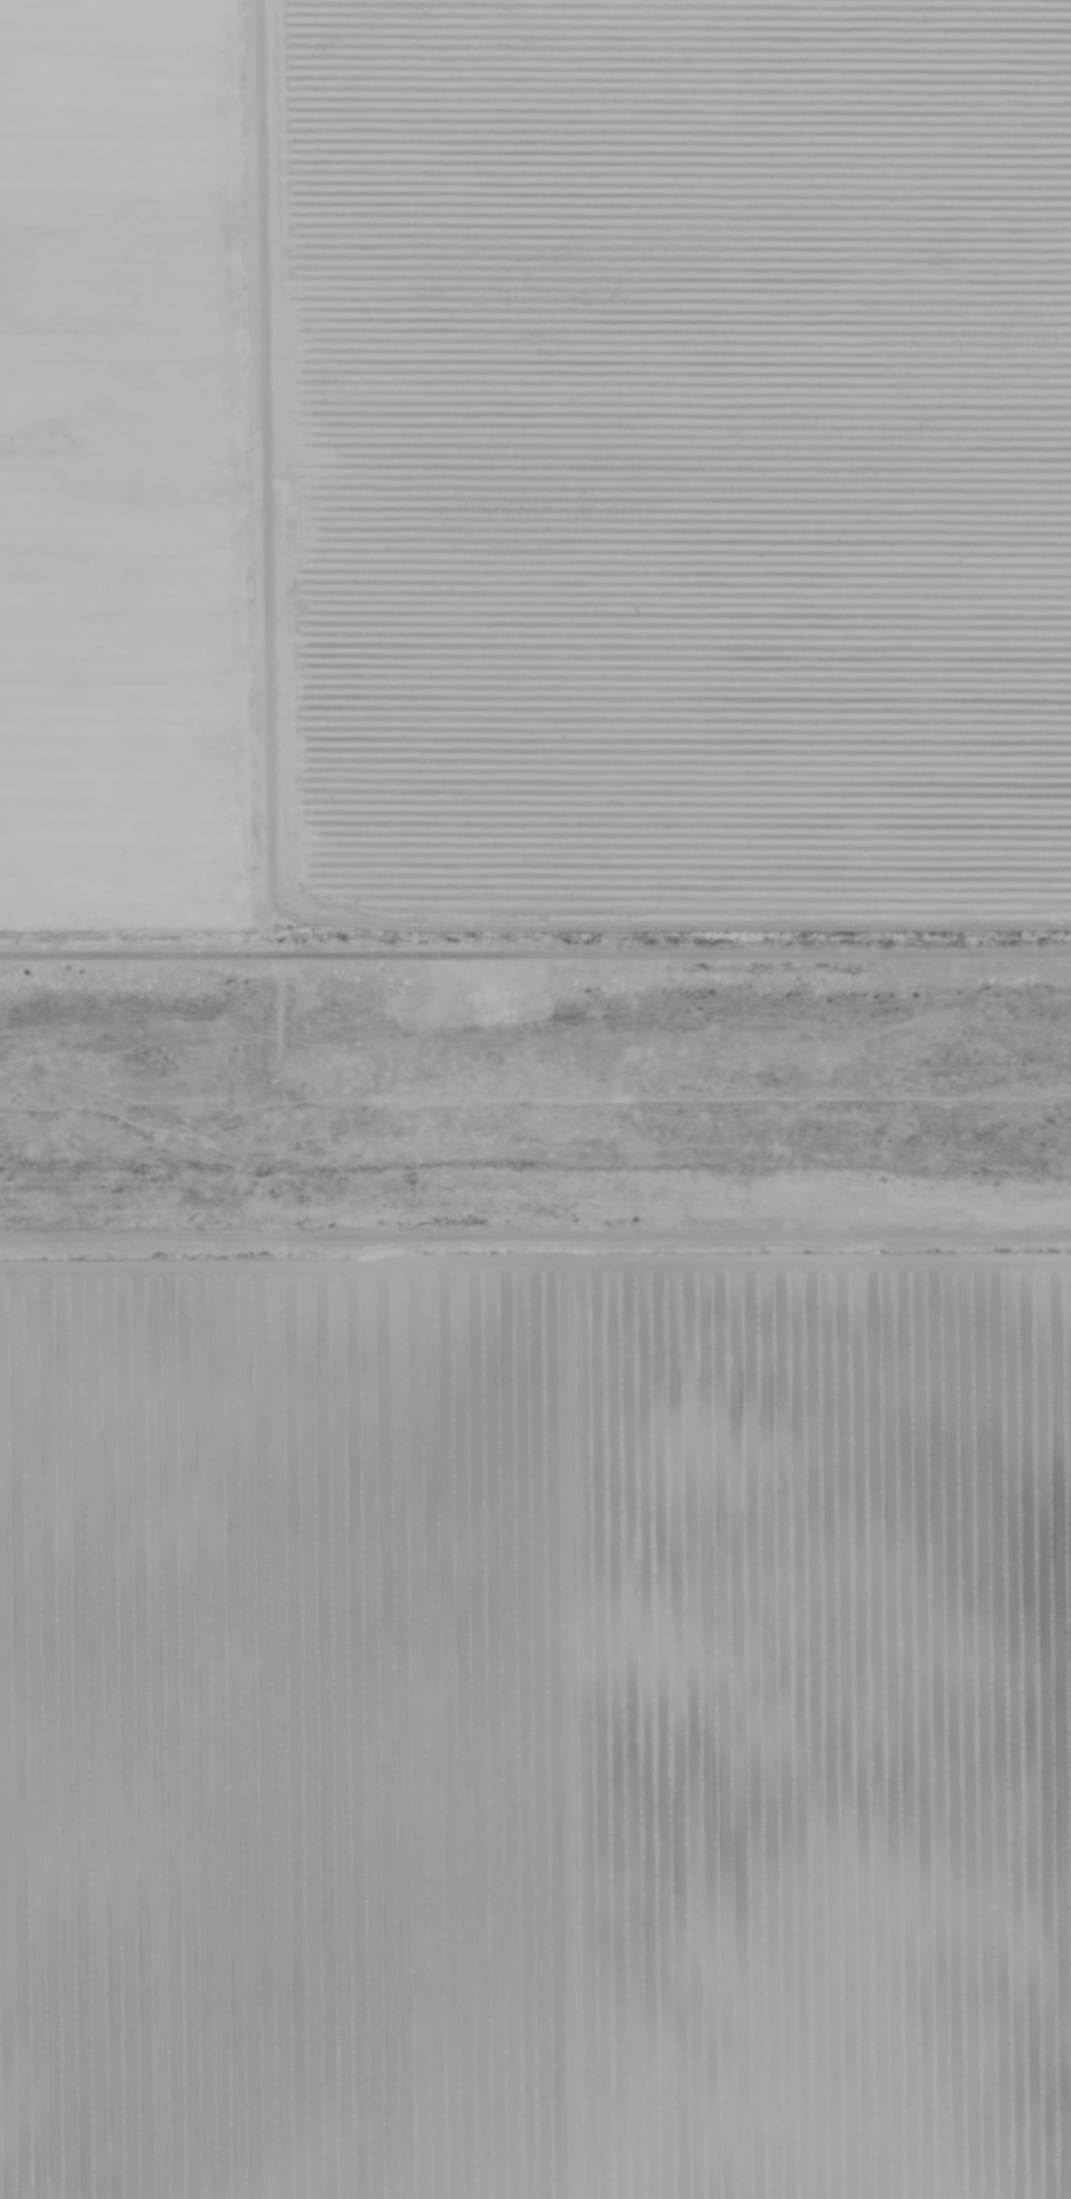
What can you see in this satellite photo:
crop: (535, 474)
road: (535, 1242)
crop: (534, 1729)

